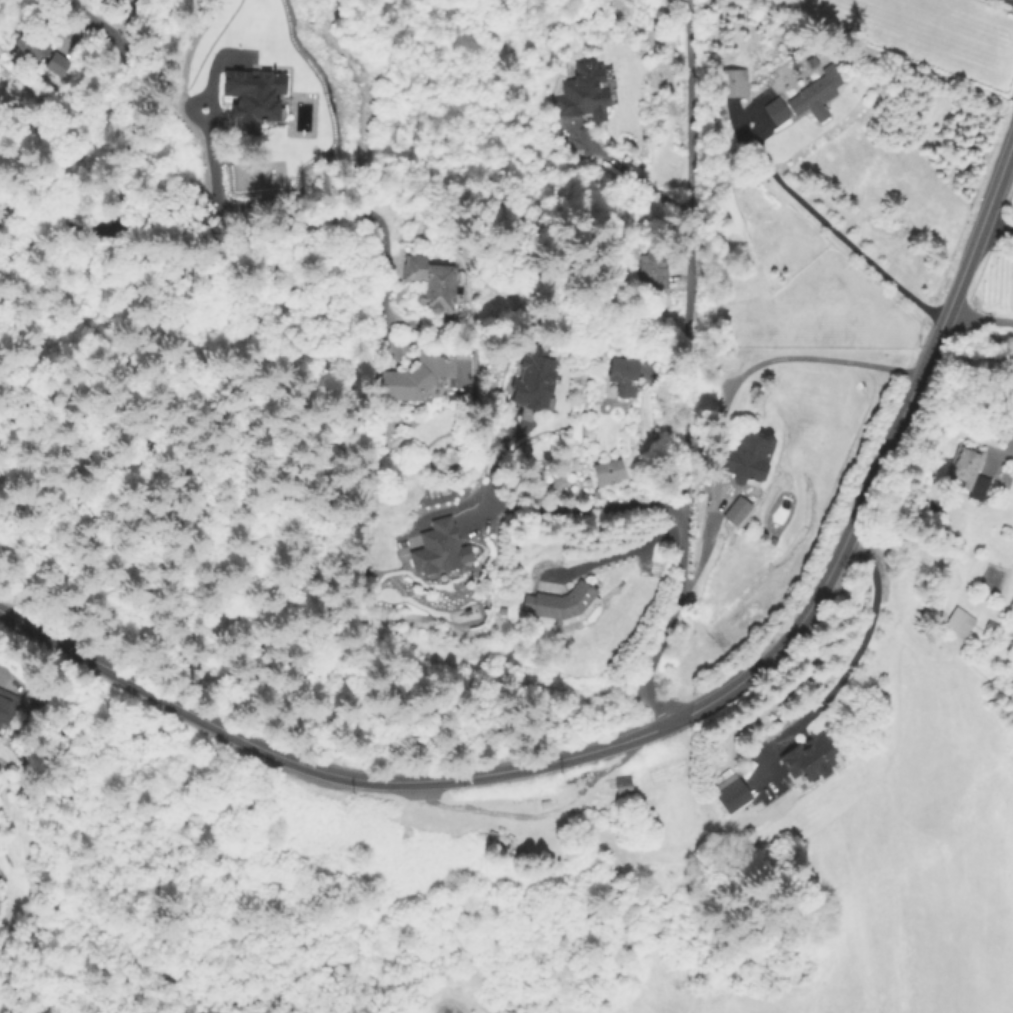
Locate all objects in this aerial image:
road: (1008, 1)
building: (30, 46)
road: (111, 60)
building: (56, 65)
building: (732, 84)
building: (586, 95)
building: (817, 95)
building: (254, 97)
building: (773, 106)
road: (209, 174)
road: (622, 175)
road: (321, 209)
road: (995, 228)
road: (834, 232)
road: (388, 244)
building: (654, 270)
building: (431, 284)
road: (977, 319)
road: (813, 358)
road: (972, 360)
road: (687, 371)
building: (413, 378)
building: (623, 378)
building: (537, 382)
road: (665, 421)
road: (1006, 443)
building: (748, 456)
building: (609, 473)
building: (969, 474)
road: (200, 496)
road: (545, 508)
building: (737, 511)
road: (619, 554)
building: (442, 555)
building: (565, 603)
building: (961, 625)
building: (992, 626)
road: (858, 647)
road: (559, 693)
building: (6, 707)
road: (661, 726)
building: (810, 758)
building: (624, 787)
building: (734, 796)

